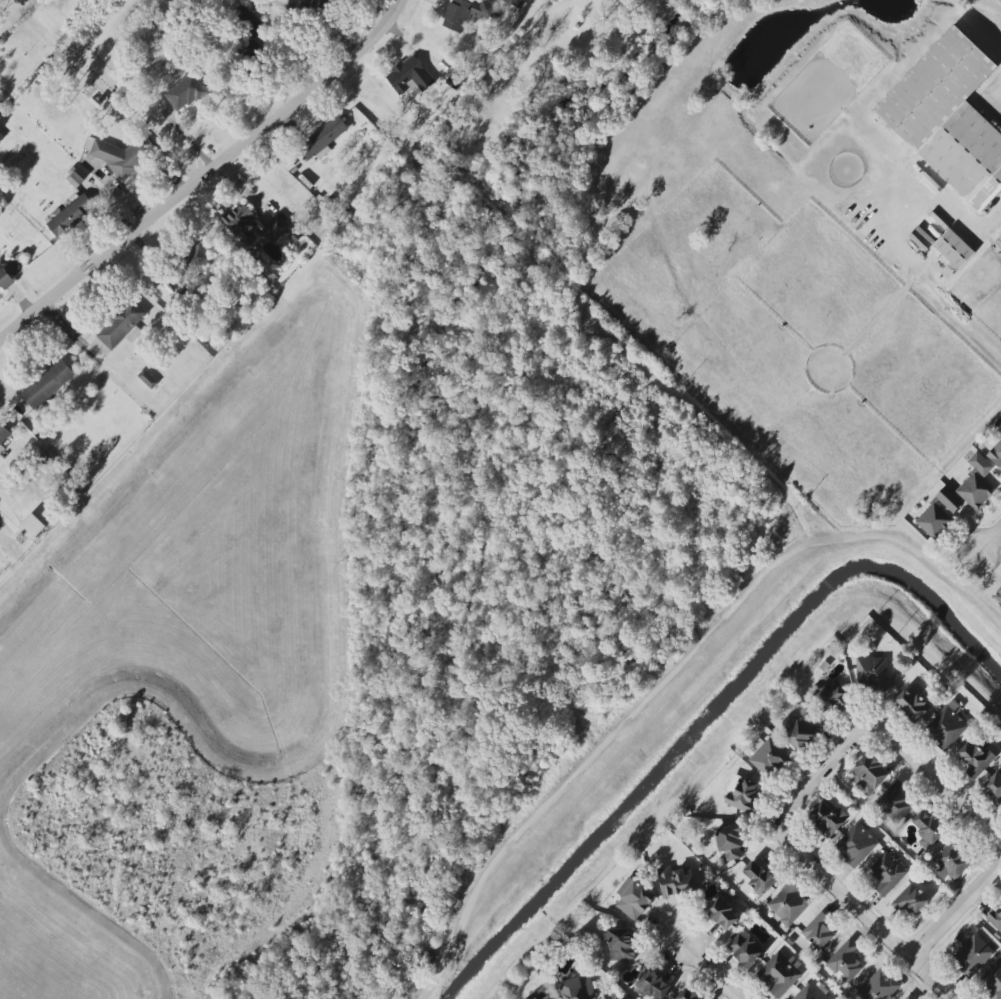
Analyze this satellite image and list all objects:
building: (515, 3)
building: (322, 4)
building: (465, 13)
building: (247, 21)
building: (409, 76)
building: (185, 92)
road: (997, 95)
building: (949, 118)
building: (323, 139)
building: (113, 155)
building: (78, 174)
road: (207, 175)
road: (942, 210)
building: (69, 217)
building: (241, 223)
building: (276, 228)
building: (953, 249)
building: (195, 257)
building: (5, 279)
building: (172, 285)
building: (122, 325)
building: (147, 379)
building: (47, 384)
building: (999, 429)
building: (3, 434)
building: (995, 454)
building: (976, 482)
building: (938, 514)
building: (33, 525)
road: (16, 538)
road: (990, 542)
building: (998, 596)
building: (871, 673)
building: (829, 697)
building: (912, 705)
building: (947, 725)
building: (800, 729)
building: (767, 757)
building: (976, 757)
road: (819, 771)
building: (868, 774)
road: (939, 784)
building: (994, 787)
building: (741, 794)
building: (895, 803)
building: (828, 817)
building: (927, 828)
building: (727, 841)
building: (856, 845)
building: (950, 861)
building: (887, 873)
building: (758, 877)
building: (676, 881)
building: (634, 898)
building: (910, 900)
building: (788, 904)
road: (959, 906)
building: (722, 913)
road: (861, 914)
building: (994, 919)
building: (818, 931)
building: (620, 944)
building: (745, 949)
building: (972, 955)
building: (845, 962)
road: (709, 969)
building: (779, 974)
building: (993, 979)
building: (653, 985)
building: (878, 986)
building: (577, 988)
building: (811, 992)
building: (540, 994)
building: (686, 995)
building: (910, 997)

